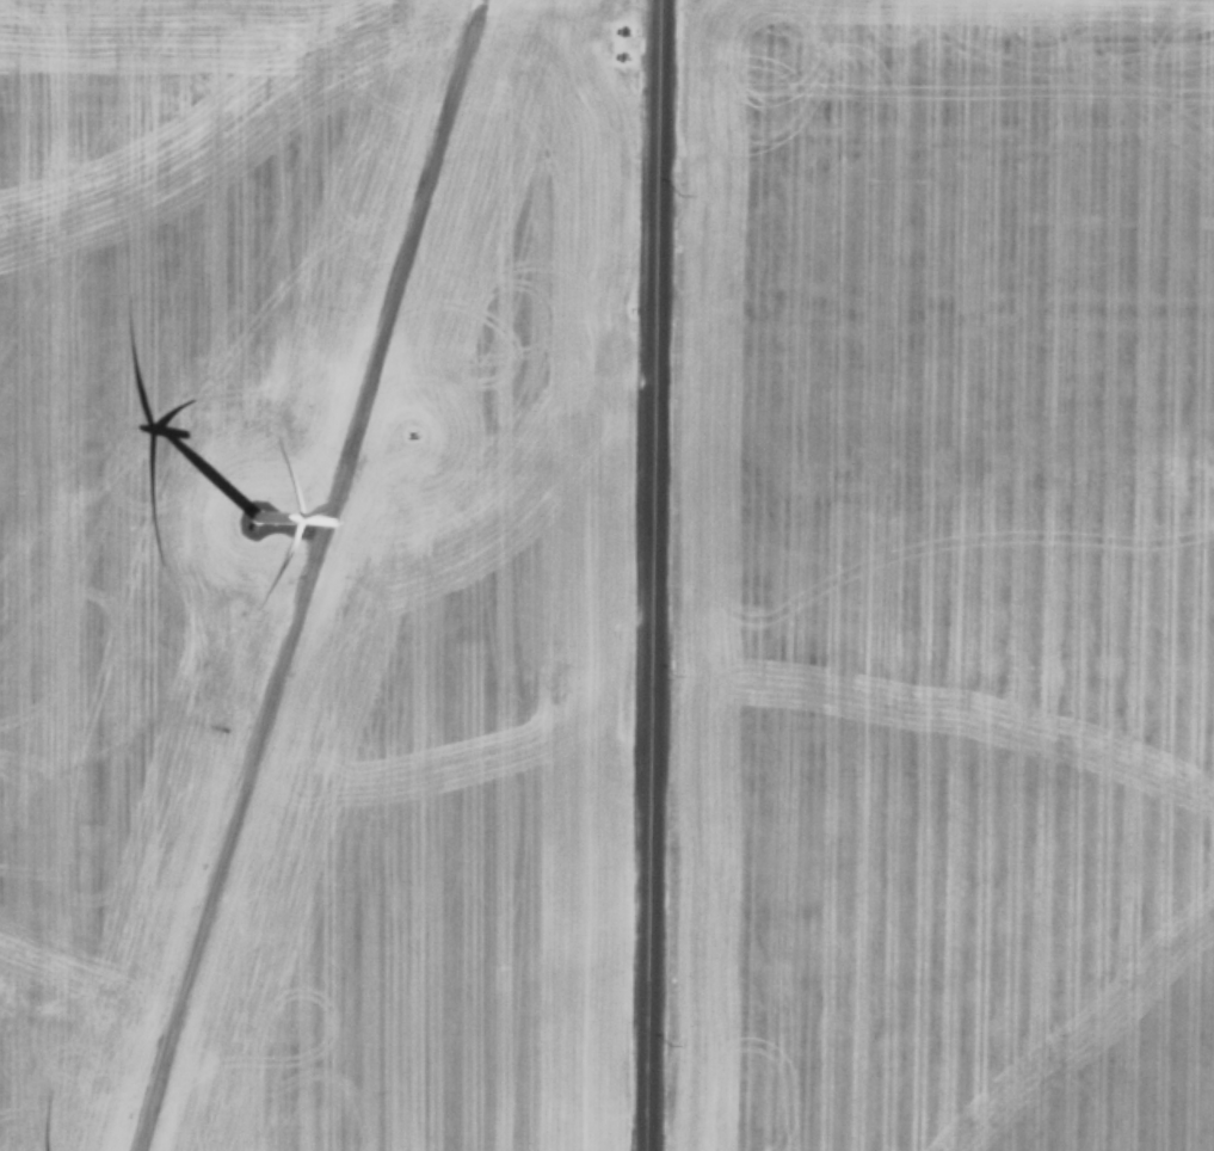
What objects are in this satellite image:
wind turbine: (269, 517)
road: (647, 574)

